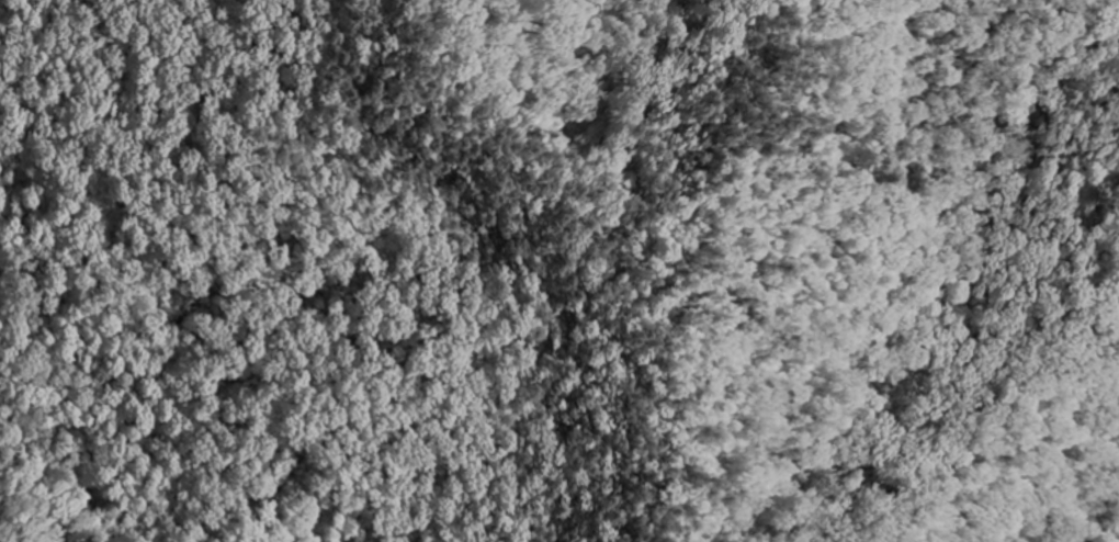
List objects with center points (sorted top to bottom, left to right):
road: (1105, 524)

